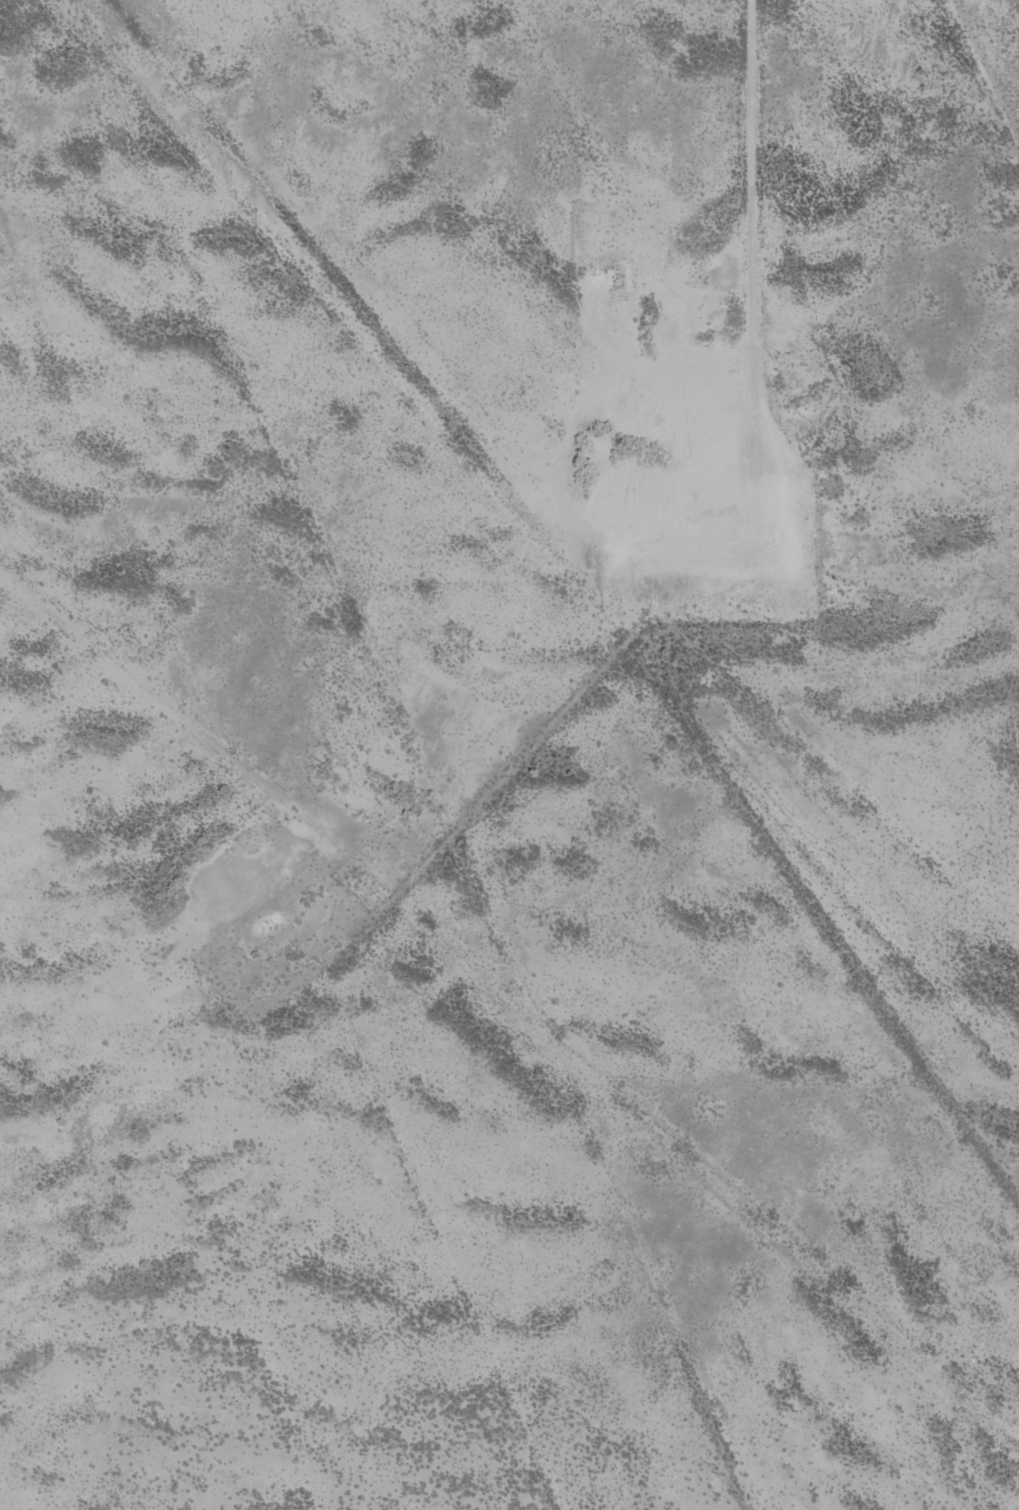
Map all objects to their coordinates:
road: (679, 636)

